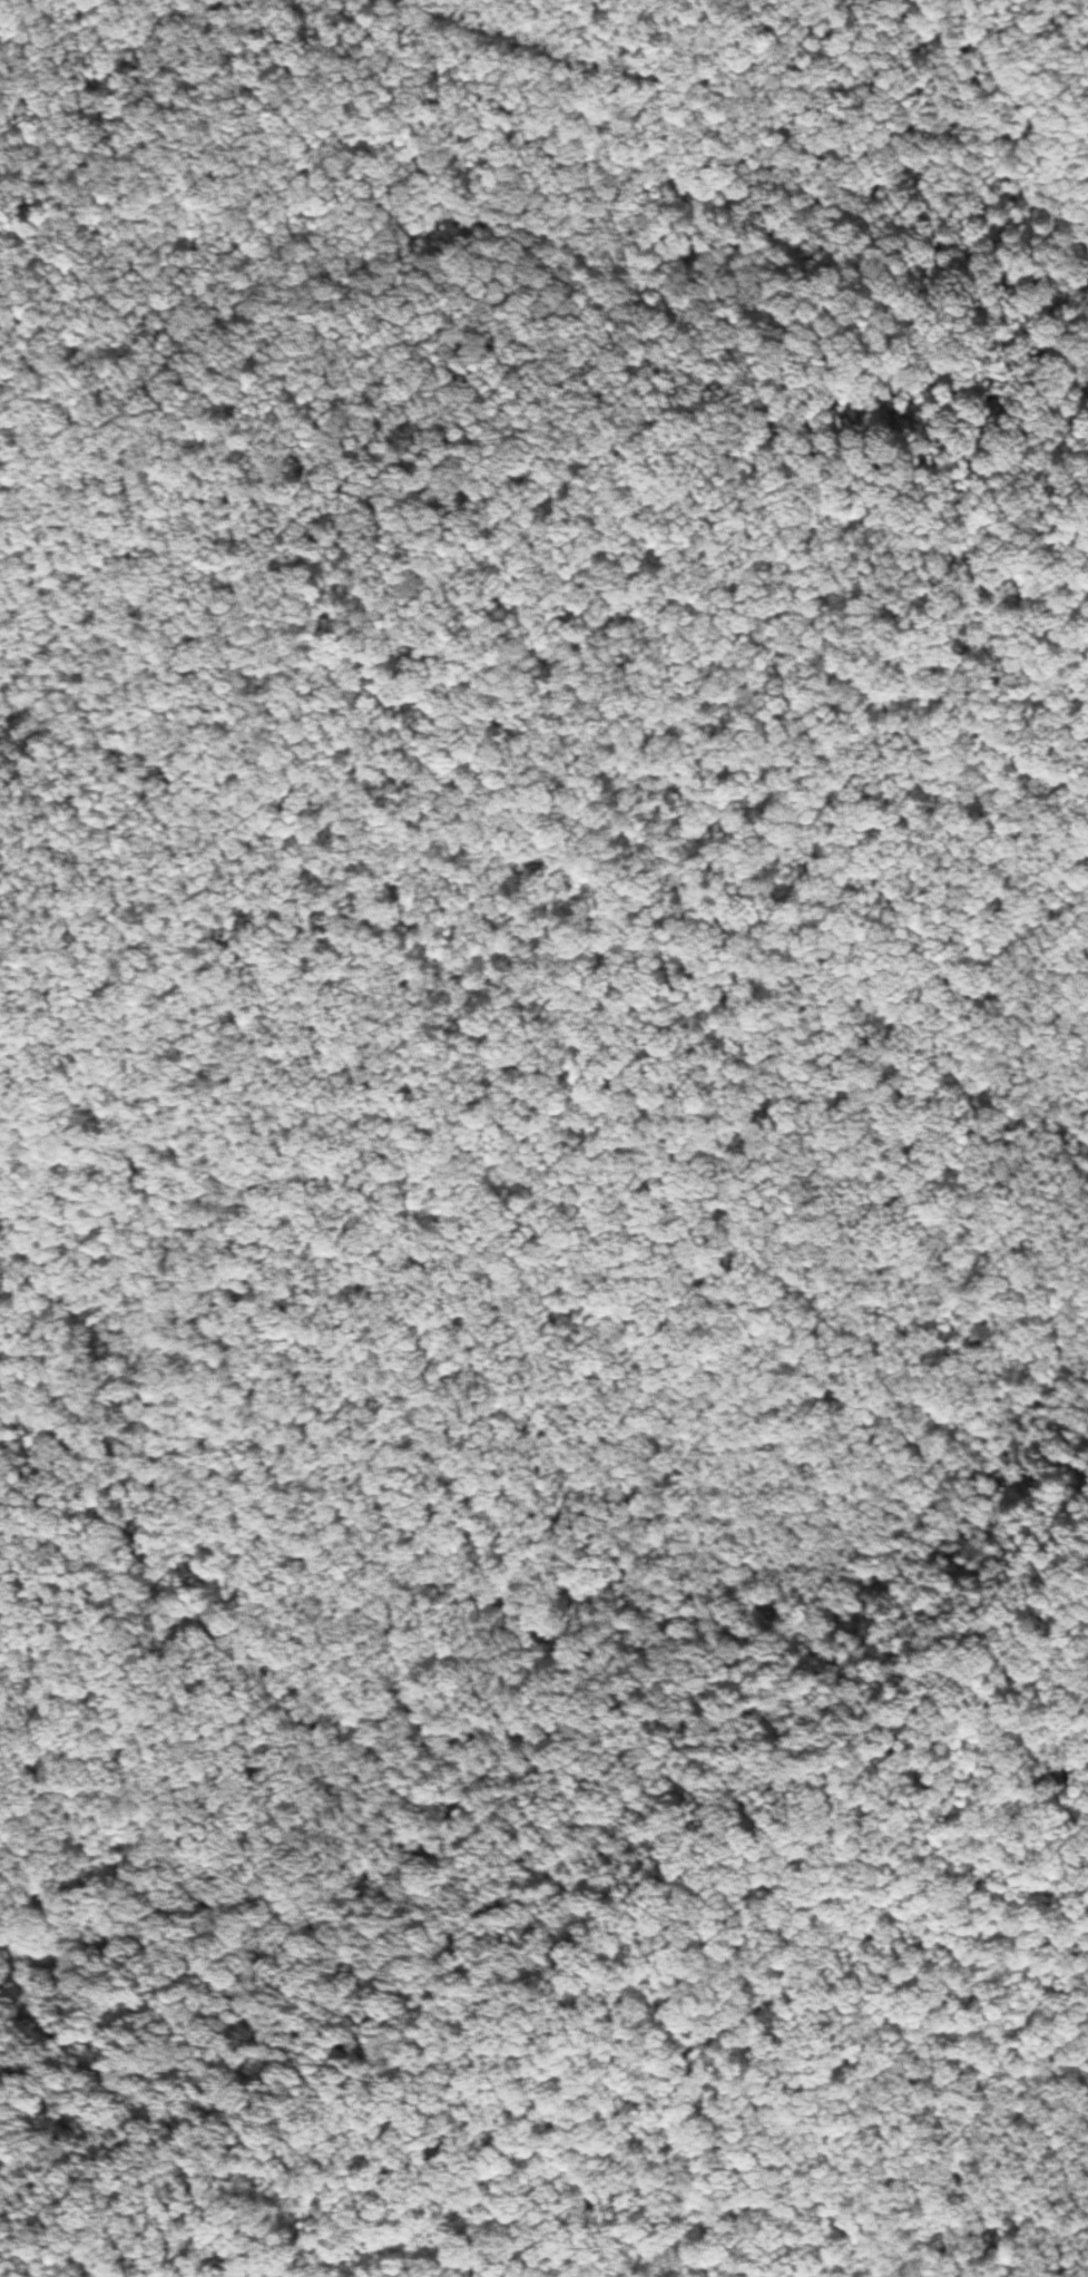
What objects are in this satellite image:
road: (797, 1468)
road: (889, 2266)

